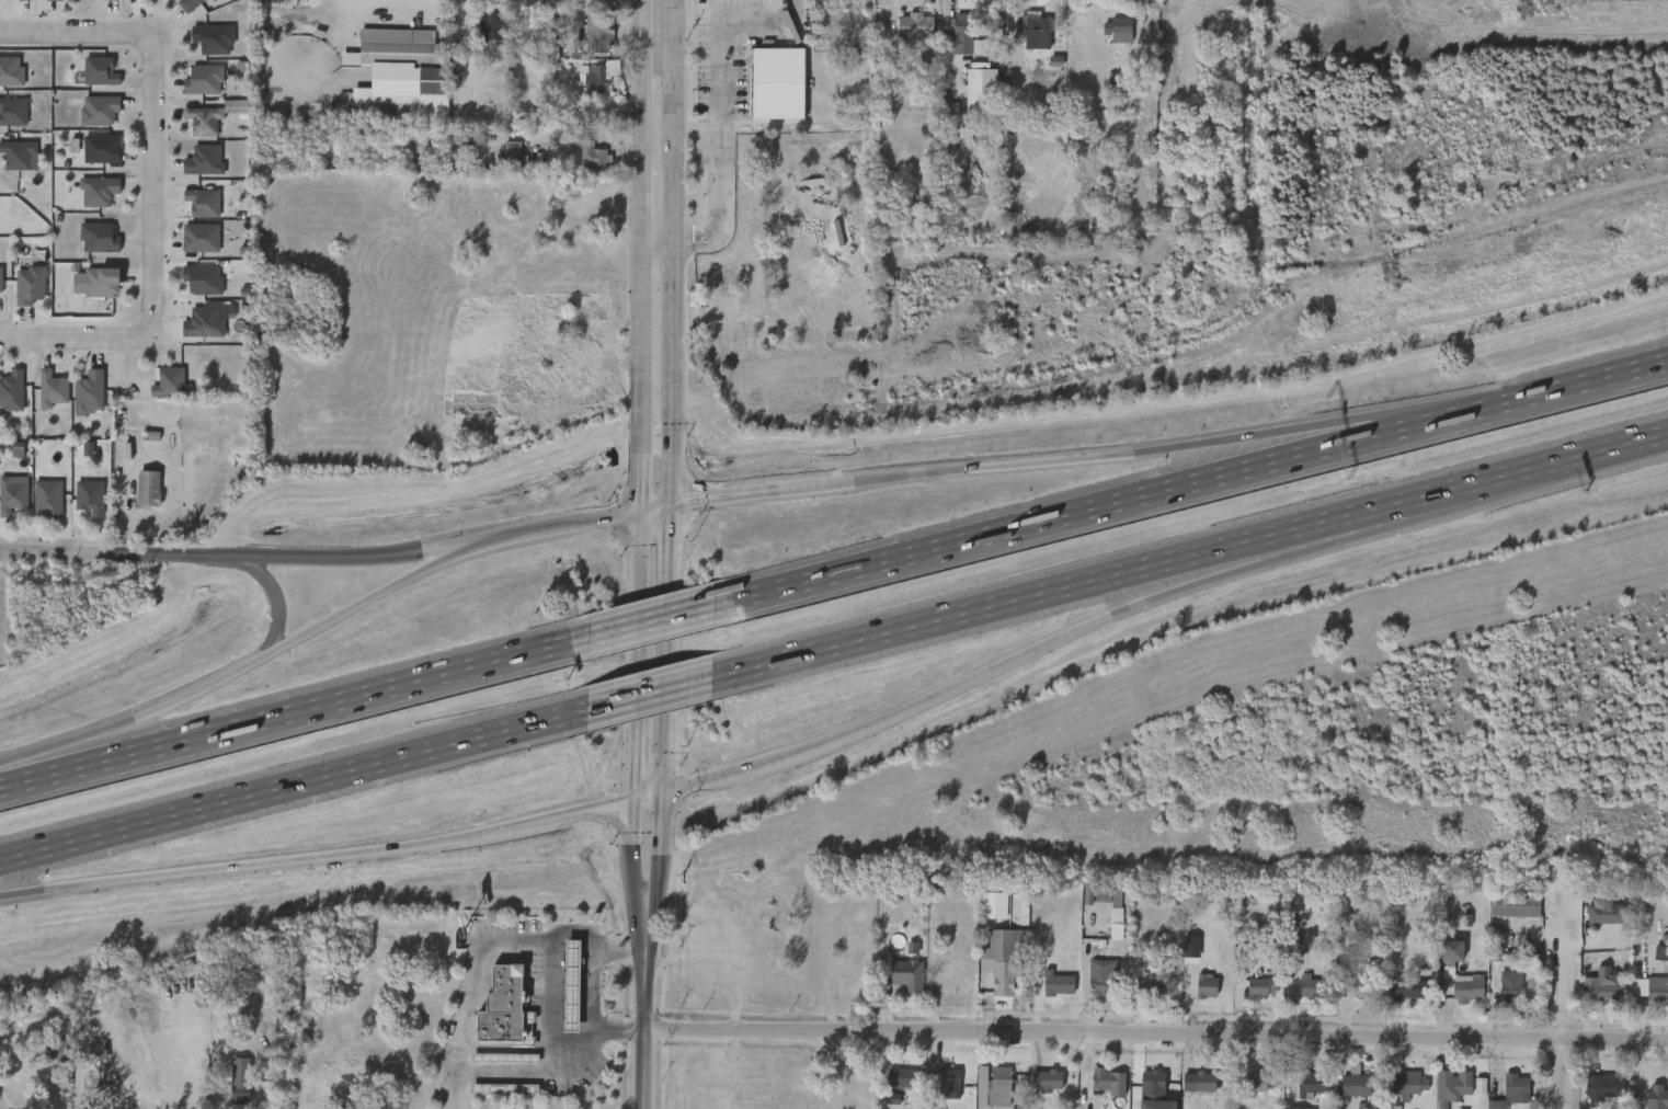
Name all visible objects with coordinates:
building: (27, 0)
building: (111, 0)
building: (13, 3)
building: (44, 3)
building: (99, 3)
building: (188, 3)
building: (917, 26)
building: (487, 27)
building: (1038, 30)
building: (1118, 30)
road: (76, 33)
building: (599, 33)
building: (904, 34)
building: (1107, 37)
building: (1026, 38)
building: (214, 39)
building: (964, 39)
building: (952, 43)
building: (393, 47)
building: (12, 70)
building: (104, 70)
building: (601, 77)
building: (90, 79)
building: (207, 79)
road: (646, 82)
building: (194, 88)
building: (767, 90)
building: (970, 100)
road: (721, 106)
building: (370, 107)
building: (103, 108)
building: (15, 110)
building: (89, 117)
building: (375, 117)
building: (205, 118)
building: (105, 148)
building: (513, 152)
building: (593, 153)
building: (91, 156)
building: (20, 157)
building: (205, 160)
building: (502, 161)
building: (580, 162)
road: (151, 185)
building: (102, 190)
building: (87, 198)
building: (207, 201)
road: (643, 202)
building: (193, 209)
building: (104, 237)
building: (202, 237)
road: (659, 239)
building: (89, 245)
building: (191, 245)
building: (2, 278)
building: (203, 278)
building: (106, 281)
building: (34, 284)
building: (92, 289)
building: (20, 293)
building: (204, 321)
road: (75, 338)
road: (641, 374)
road: (1609, 376)
building: (175, 382)
building: (56, 389)
building: (94, 389)
building: (13, 390)
building: (161, 390)
road: (672, 396)
building: (42, 397)
building: (79, 400)
road: (1409, 410)
road: (1625, 442)
road: (969, 469)
building: (148, 490)
building: (15, 495)
road: (1135, 495)
building: (94, 496)
building: (137, 496)
building: (54, 498)
building: (80, 504)
traffic signals: (669, 504)
building: (37, 505)
road: (655, 506)
traffic signals: (642, 510)
road: (561, 525)
road: (1376, 528)
road: (115, 553)
road: (454, 553)
road: (356, 556)
road: (1158, 561)
road: (244, 562)
road: (639, 598)
road: (277, 610)
road: (644, 621)
road: (248, 661)
road: (658, 689)
road: (916, 702)
road: (284, 713)
road: (635, 742)
road: (32, 750)
road: (290, 782)
traffic signals: (659, 791)
road: (646, 794)
traffic signals: (633, 798)
road: (658, 853)
road: (318, 856)
road: (632, 856)
building: (1109, 900)
building: (1515, 907)
building: (1105, 931)
building: (1451, 951)
building: (1440, 959)
building: (1649, 960)
building: (998, 962)
building: (906, 975)
building: (1101, 976)
building: (896, 982)
building: (1146, 982)
building: (1054, 983)
building: (571, 984)
gas station: (571, 984)
road: (552, 985)
building: (1090, 985)
building: (1510, 985)
road: (465, 986)
building: (1260, 986)
building: (1600, 986)
building: (1311, 987)
building: (1360, 988)
building: (1467, 988)
building: (1409, 990)
building: (1656, 990)
building: (1047, 991)
building: (1189, 992)
building: (561, 993)
building: (1499, 993)
building: (1249, 994)
building: (1298, 994)
building: (1637, 995)
building: (1399, 998)
building: (503, 1009)
road: (647, 1011)
road: (1565, 1016)
road: (1157, 1038)
building: (506, 1059)
gas station: (506, 1059)
road: (522, 1074)
building: (902, 1077)
building: (1047, 1079)
building: (237, 1081)
building: (1101, 1082)
building: (1355, 1083)
building: (1201, 1084)
building: (1258, 1084)
building: (1405, 1084)
building: (893, 1085)
building: (938, 1085)
building: (1311, 1085)
building: (1456, 1085)
building: (992, 1086)
building: (1516, 1087)
building: (1035, 1088)
building: (1188, 1088)
building: (1244, 1088)
building: (1343, 1088)
building: (1601, 1088)
building: (506, 1089)
gas station: (506, 1089)
building: (971, 1090)
building: (1141, 1091)
building: (1505, 1095)
building: (1645, 1100)
building: (1145, 1108)
building: (1298, 1108)

